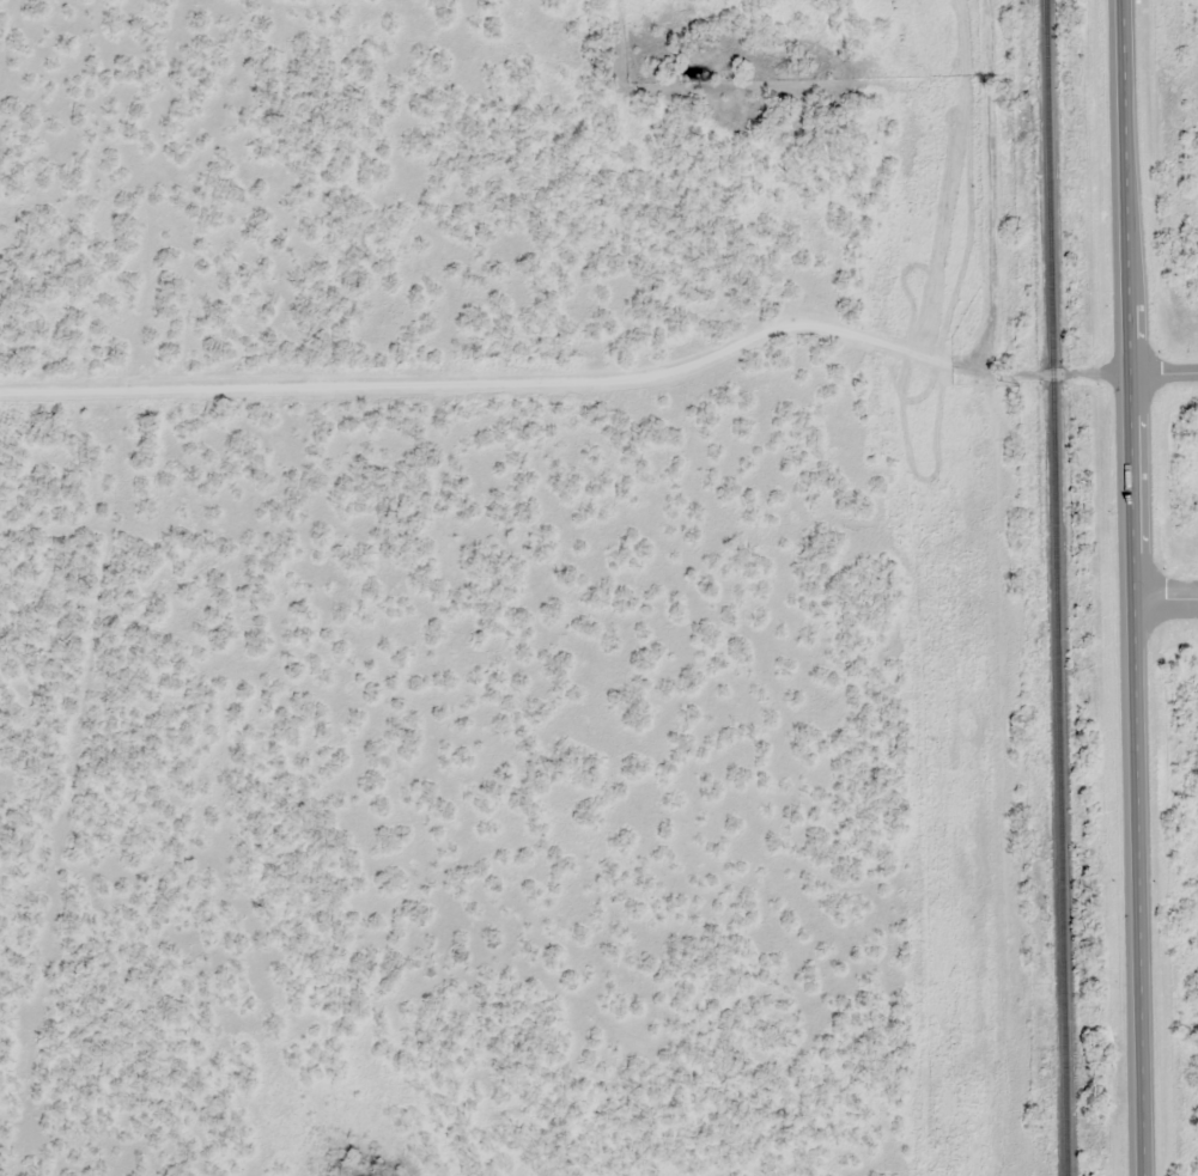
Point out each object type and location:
road: (887, 348)
road: (1091, 373)
railway: (1056, 587)
road: (1133, 587)
road: (1166, 607)

